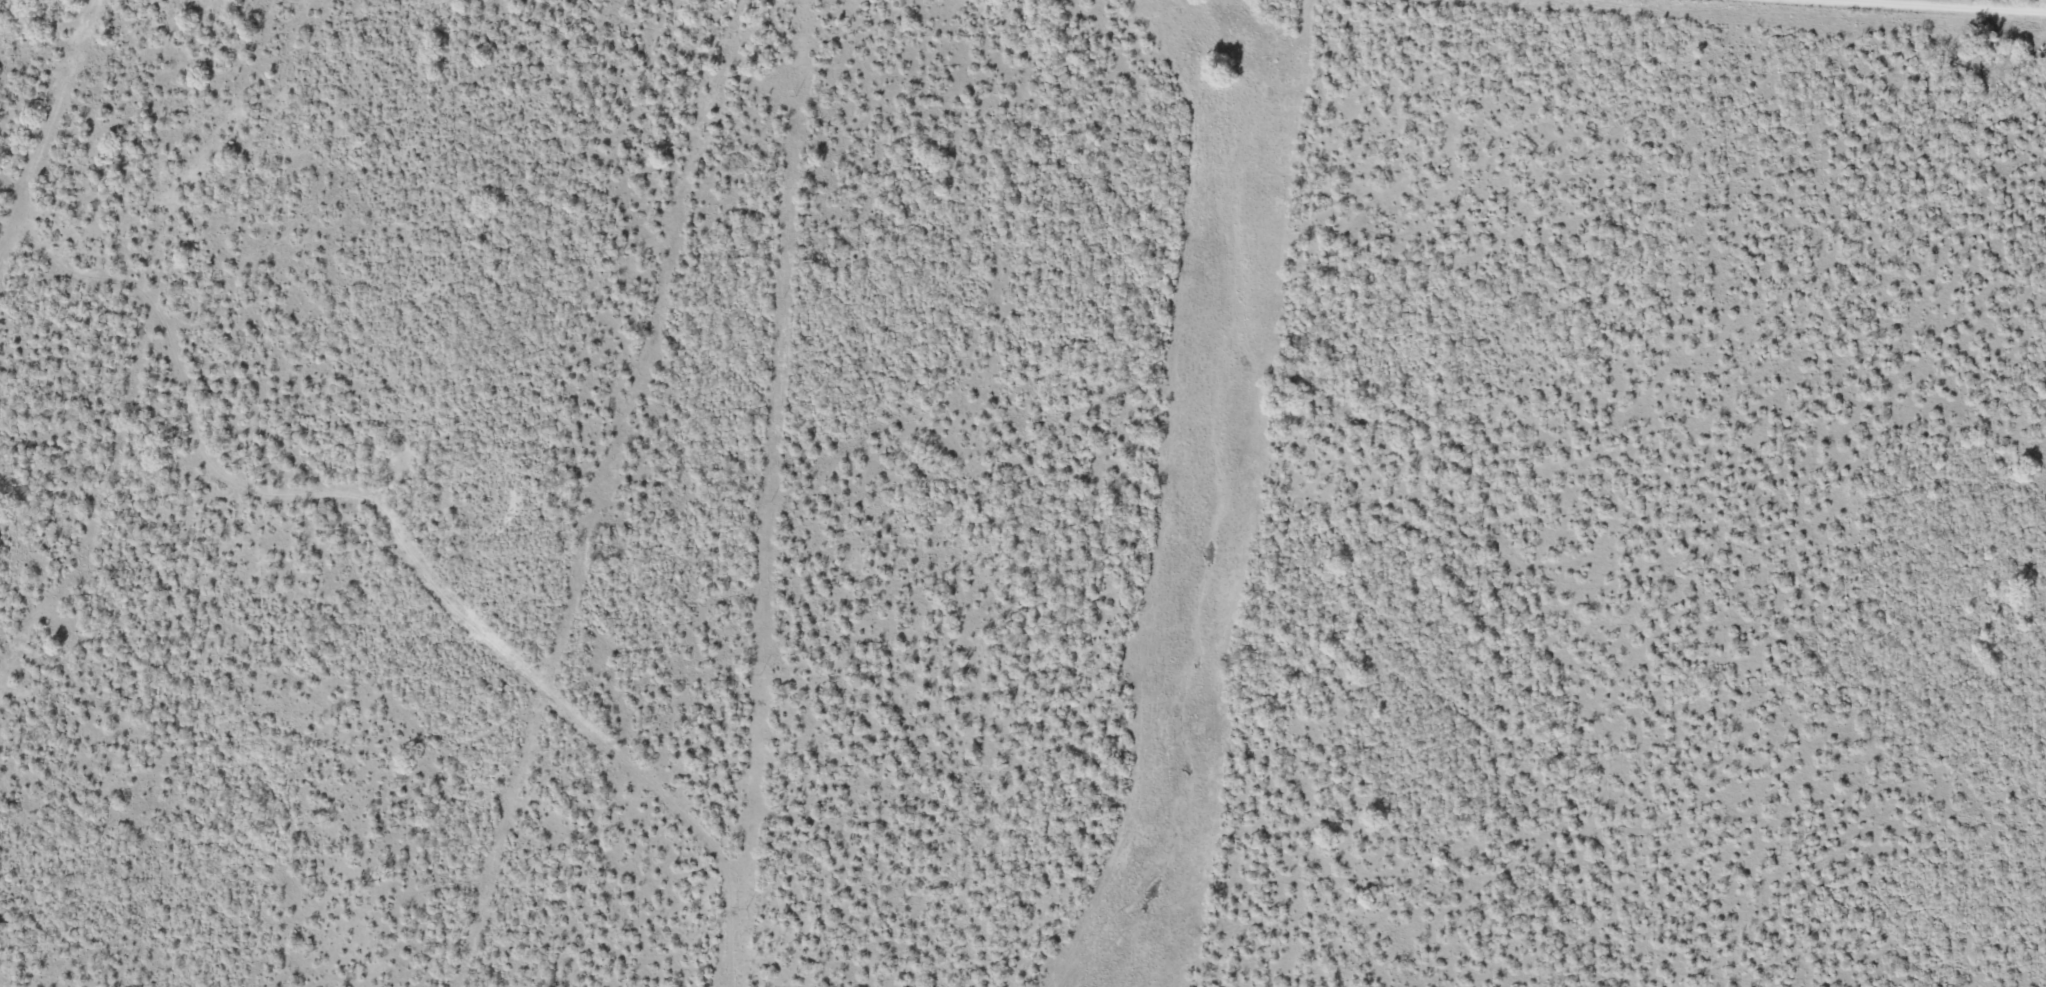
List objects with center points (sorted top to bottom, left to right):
road: (1930, 7)

